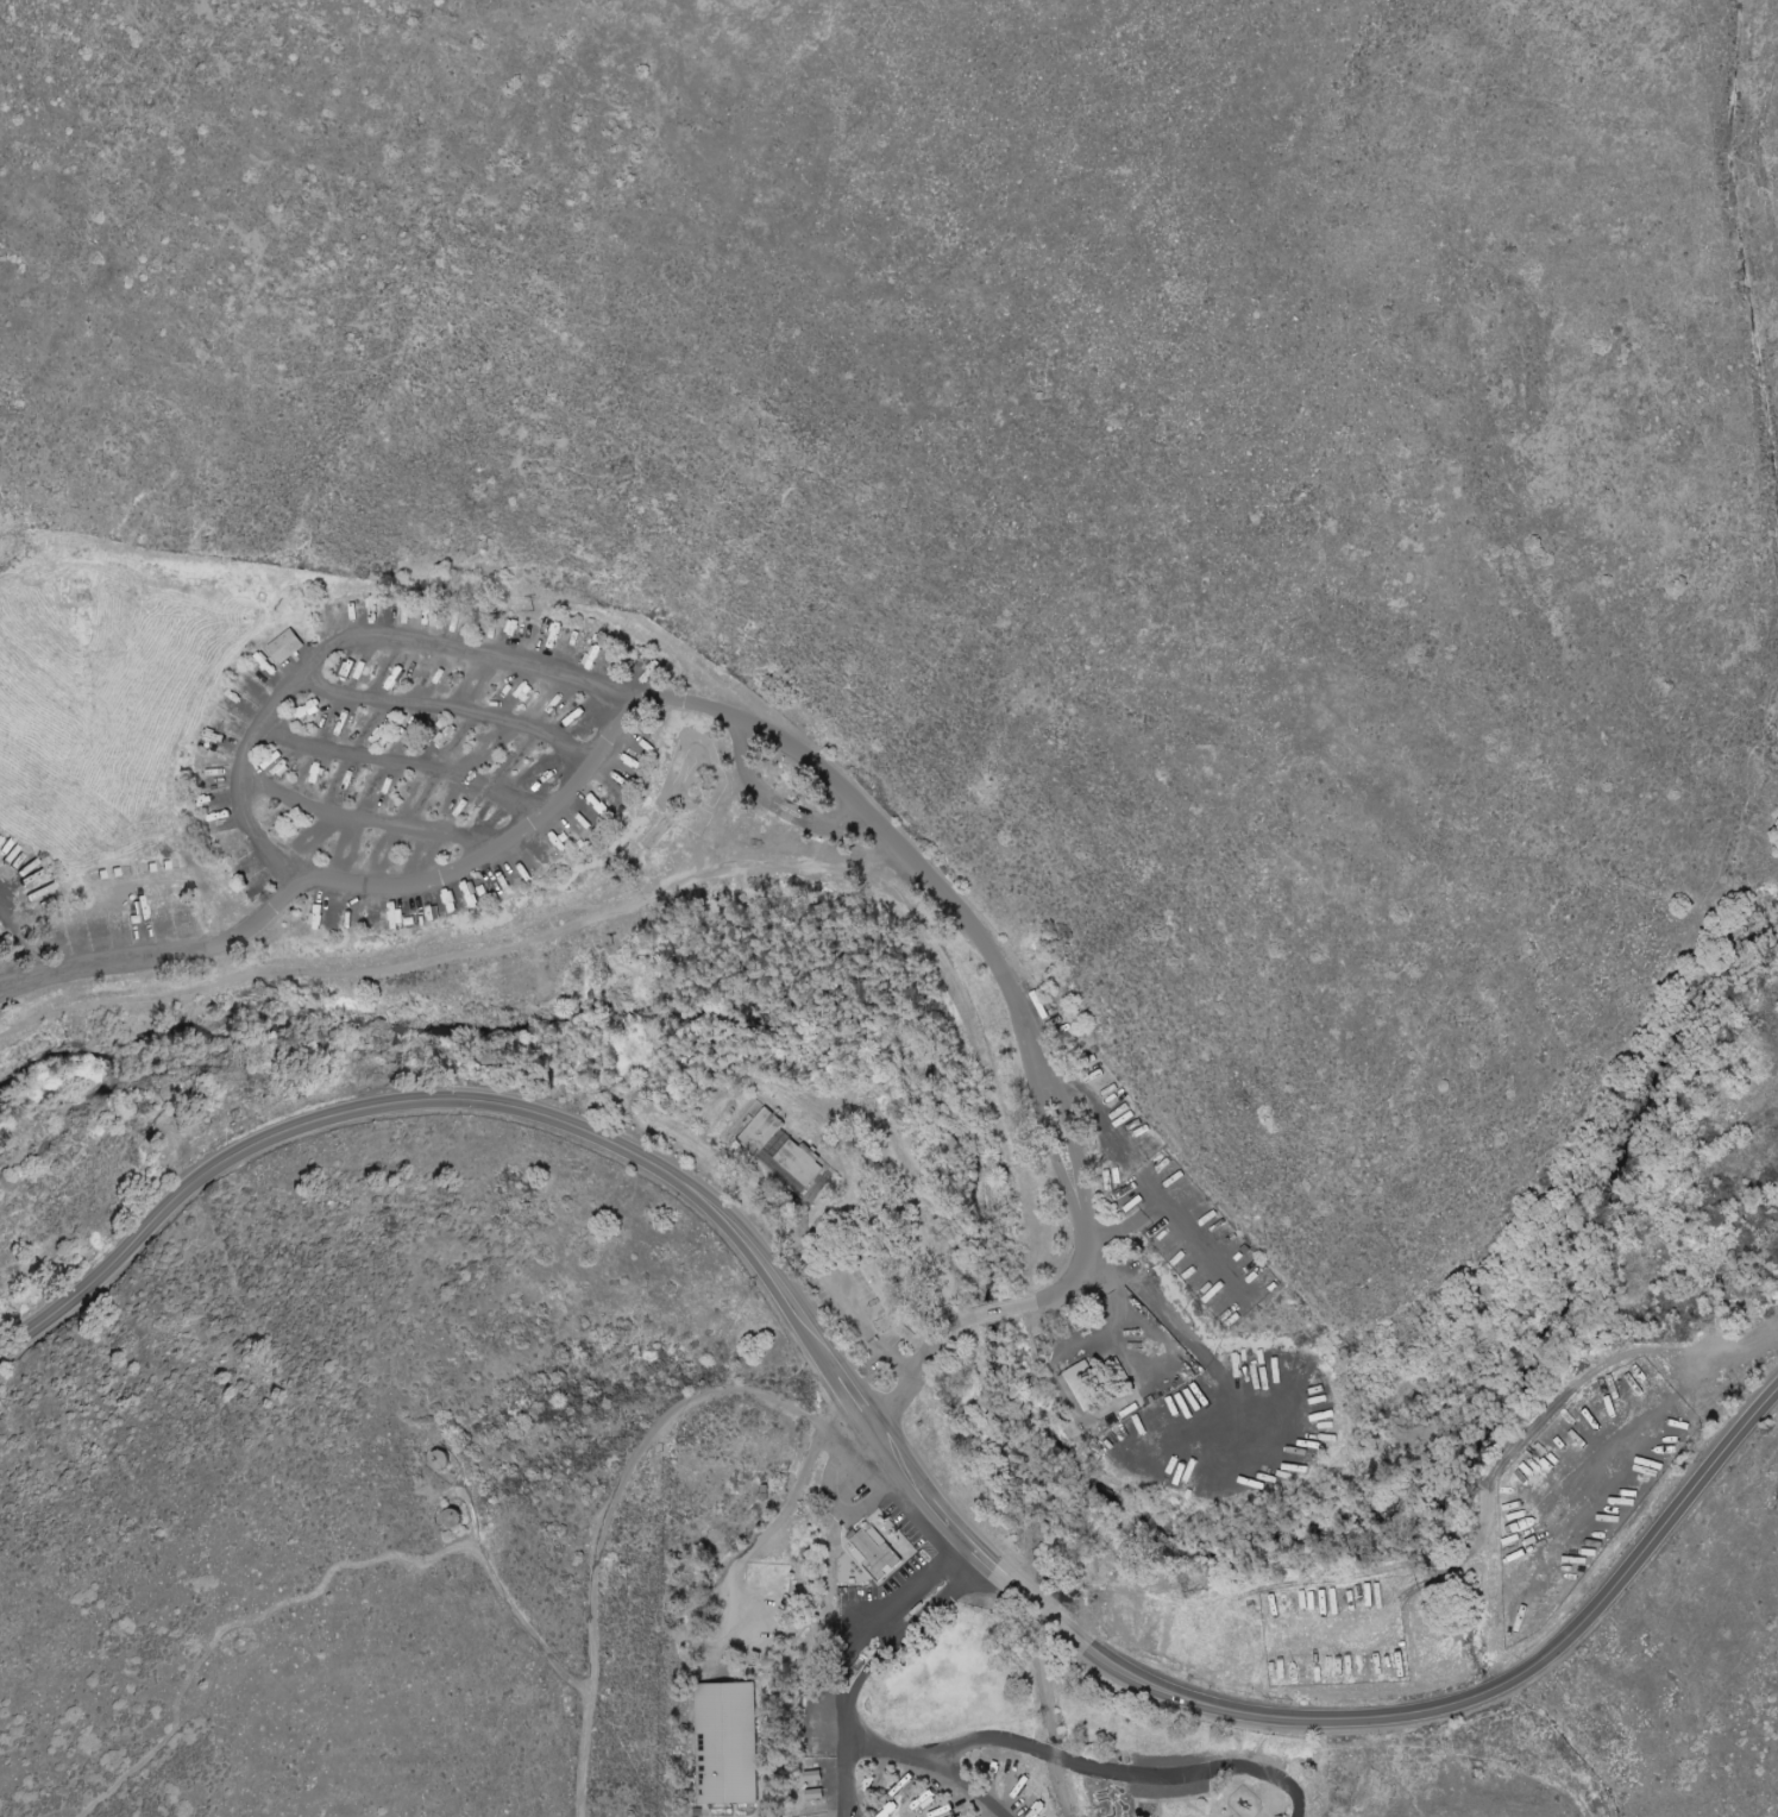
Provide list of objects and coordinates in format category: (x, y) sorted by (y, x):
building: (287, 646)
road: (665, 700)
road: (454, 715)
road: (381, 824)
road: (27, 945)
road: (162, 958)
road: (0, 996)
road: (445, 1106)
building: (764, 1131)
building: (802, 1162)
road: (1158, 1301)
building: (1079, 1387)
road: (834, 1409)
road: (1240, 1420)
water tower: (438, 1454)
parking lot: (861, 1482)
water tower: (456, 1514)
road: (595, 1521)
parking lot: (912, 1534)
road: (765, 1535)
building: (879, 1548)
road: (505, 1593)
road: (860, 1659)
road: (1322, 1724)
building: (727, 1746)
road: (1085, 1765)
road: (965, 1787)

